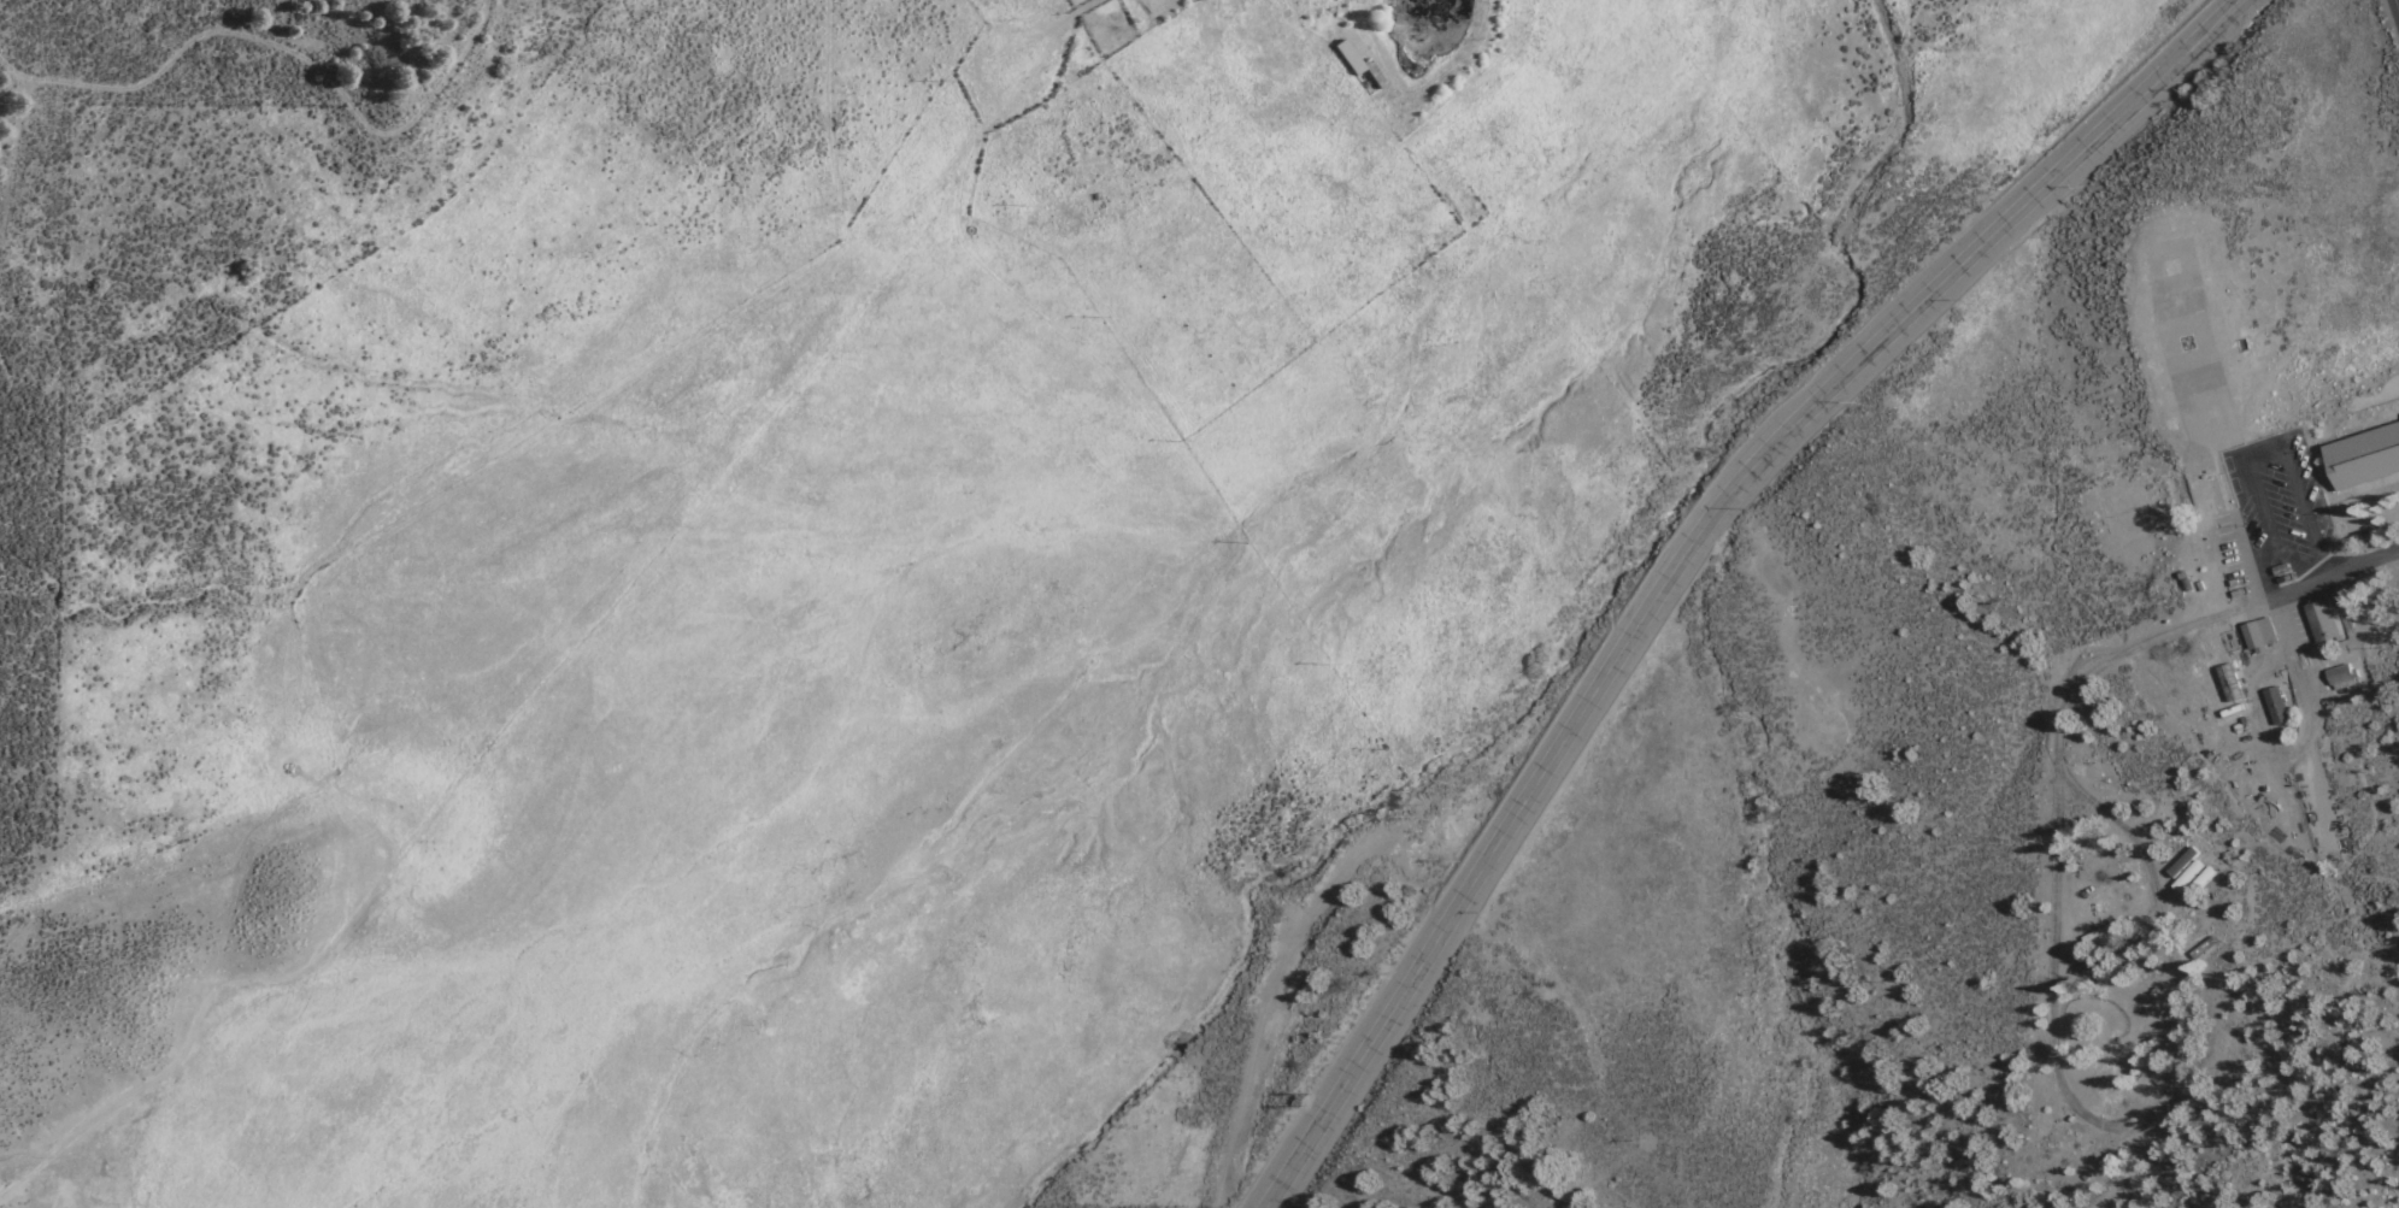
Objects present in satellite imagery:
road: (2397, 2)
road: (221, 34)
road: (12, 65)
helipad: (2168, 267)
helipad: (2183, 338)
helipad: (2210, 419)
road: (2266, 452)
building: (2366, 459)
road: (2300, 490)
building: (2213, 494)
building: (2195, 500)
road: (2262, 500)
road: (2275, 543)
road: (1688, 550)
road: (2321, 554)
road: (2315, 577)
building: (2319, 619)
building: (2259, 634)
building: (2340, 678)
building: (2229, 683)
building: (2274, 705)
road: (2294, 748)
road: (2058, 836)
building: (2186, 867)
road: (2163, 944)
road: (208, 997)
road: (2129, 1169)

